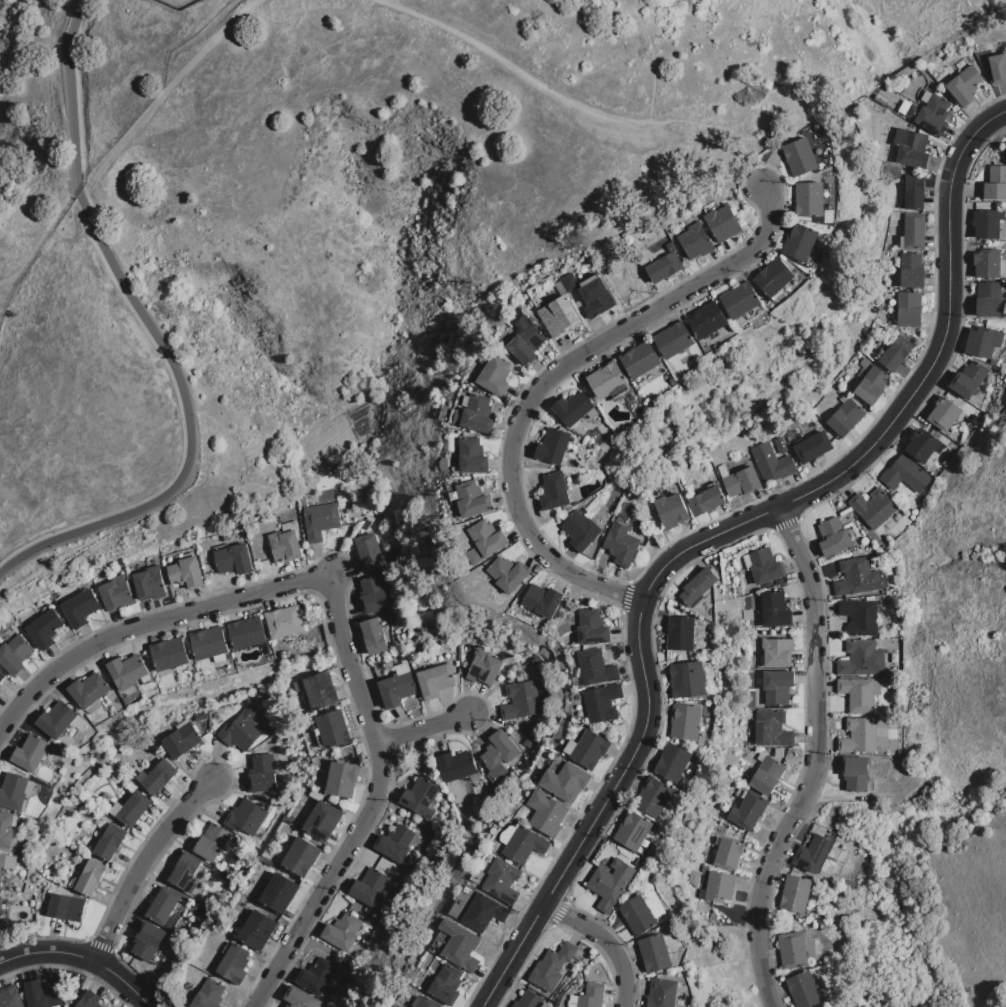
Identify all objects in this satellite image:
road: (80, 6)
road: (652, 60)
building: (922, 61)
building: (998, 67)
road: (513, 68)
building: (907, 71)
building: (965, 85)
road: (163, 95)
building: (926, 97)
road: (70, 103)
building: (915, 114)
building: (933, 115)
building: (1005, 143)
building: (913, 150)
building: (799, 157)
building: (995, 183)
building: (914, 192)
park: (337, 199)
building: (809, 199)
building: (722, 223)
building: (988, 223)
building: (914, 231)
building: (695, 241)
building: (800, 242)
building: (902, 242)
building: (986, 263)
building: (663, 267)
building: (911, 271)
building: (774, 277)
building: (590, 294)
building: (990, 299)
building: (740, 300)
building: (909, 309)
building: (875, 310)
building: (559, 317)
building: (707, 320)
road: (639, 323)
building: (674, 340)
building: (982, 343)
building: (526, 345)
building: (896, 353)
building: (640, 360)
building: (495, 375)
building: (607, 380)
building: (969, 380)
building: (871, 386)
building: (465, 402)
building: (573, 408)
building: (592, 413)
building: (445, 415)
building: (478, 415)
building: (945, 415)
building: (452, 416)
building: (960, 416)
building: (458, 417)
building: (846, 418)
road: (189, 428)
building: (780, 445)
building: (922, 446)
building: (553, 447)
building: (813, 447)
building: (472, 456)
building: (771, 463)
building: (722, 471)
building: (905, 474)
building: (741, 482)
building: (554, 492)
building: (472, 500)
building: (706, 501)
building: (873, 508)
building: (671, 510)
building: (319, 520)
building: (365, 525)
building: (288, 526)
building: (580, 531)
road: (720, 535)
building: (833, 537)
building: (485, 542)
building: (621, 544)
building: (285, 546)
building: (372, 552)
building: (233, 559)
road: (558, 559)
building: (747, 562)
building: (765, 566)
building: (185, 573)
building: (508, 574)
building: (857, 578)
building: (149, 583)
building: (698, 586)
building: (115, 594)
building: (373, 595)
building: (63, 597)
road: (232, 601)
building: (542, 601)
building: (80, 608)
building: (775, 610)
building: (746, 615)
building: (860, 617)
building: (284, 621)
building: (44, 628)
building: (591, 628)
building: (247, 633)
building: (680, 633)
building: (374, 636)
building: (208, 644)
building: (777, 652)
building: (169, 653)
building: (15, 654)
building: (284, 654)
building: (858, 658)
building: (879, 658)
building: (595, 668)
building: (402, 669)
building: (483, 669)
building: (127, 671)
building: (2, 676)
building: (688, 678)
building: (435, 680)
building: (297, 685)
building: (777, 686)
building: (396, 689)
building: (89, 690)
building: (320, 691)
building: (859, 693)
building: (520, 700)
building: (601, 703)
building: (56, 720)
building: (685, 721)
building: (179, 722)
building: (78, 723)
building: (241, 729)
building: (330, 729)
building: (532, 729)
building: (771, 729)
building: (270, 731)
road: (427, 731)
building: (859, 736)
building: (181, 740)
building: (702, 741)
building: (528, 742)
building: (569, 747)
building: (589, 749)
building: (30, 753)
building: (498, 755)
road: (815, 757)
building: (672, 762)
building: (456, 766)
building: (895, 769)
building: (856, 773)
building: (262, 774)
building: (766, 774)
building: (140, 776)
building: (158, 777)
building: (341, 779)
building: (565, 782)
building: (29, 788)
building: (13, 791)
building: (420, 797)
building: (653, 797)
building: (115, 809)
building: (133, 809)
building: (748, 811)
building: (546, 814)
building: (245, 818)
building: (322, 820)
building: (7, 829)
building: (632, 831)
building: (508, 834)
building: (110, 842)
building: (212, 842)
building: (395, 843)
building: (525, 845)
building: (727, 853)
building: (812, 854)
building: (301, 857)
building: (412, 860)
building: (11, 863)
road: (145, 864)
building: (2, 866)
building: (185, 870)
building: (90, 878)
building: (703, 879)
building: (503, 880)
road: (331, 882)
building: (610, 884)
building: (369, 886)
building: (717, 887)
building: (279, 893)
building: (795, 894)
building: (464, 903)
building: (66, 907)
building: (163, 907)
building: (484, 913)
building: (637, 915)
building: (3, 918)
building: (257, 930)
building: (342, 932)
building: (147, 941)
road: (602, 943)
building: (460, 945)
building: (792, 950)
building: (654, 953)
road: (82, 956)
building: (234, 963)
building: (551, 967)
building: (316, 976)
building: (447, 985)
building: (803, 990)
building: (661, 993)
building: (43, 994)
building: (209, 994)
building: (591, 996)
building: (10, 997)
building: (301, 998)
building: (89, 1000)
building: (528, 1000)
building: (572, 1001)
building: (425, 1002)

